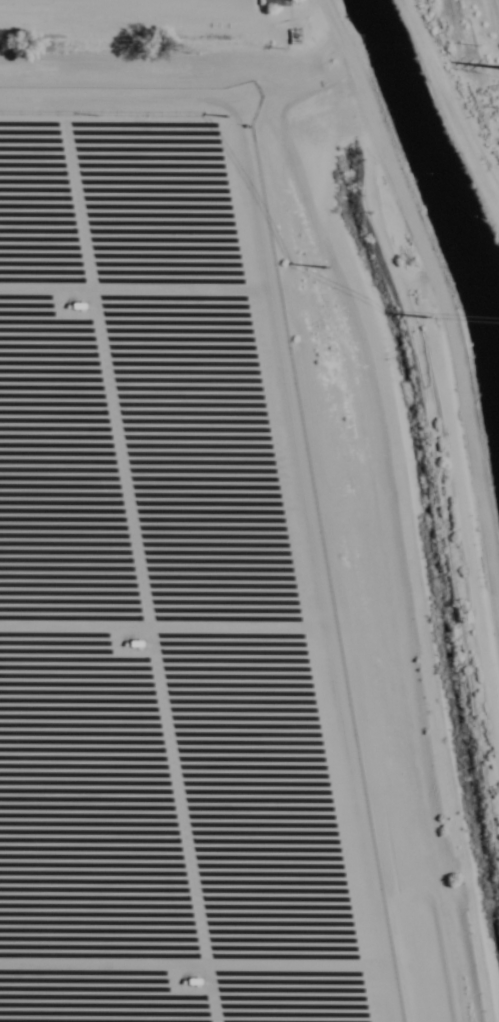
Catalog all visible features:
building: (267, 3)
road: (444, 116)
solar farm: (166, 589)

